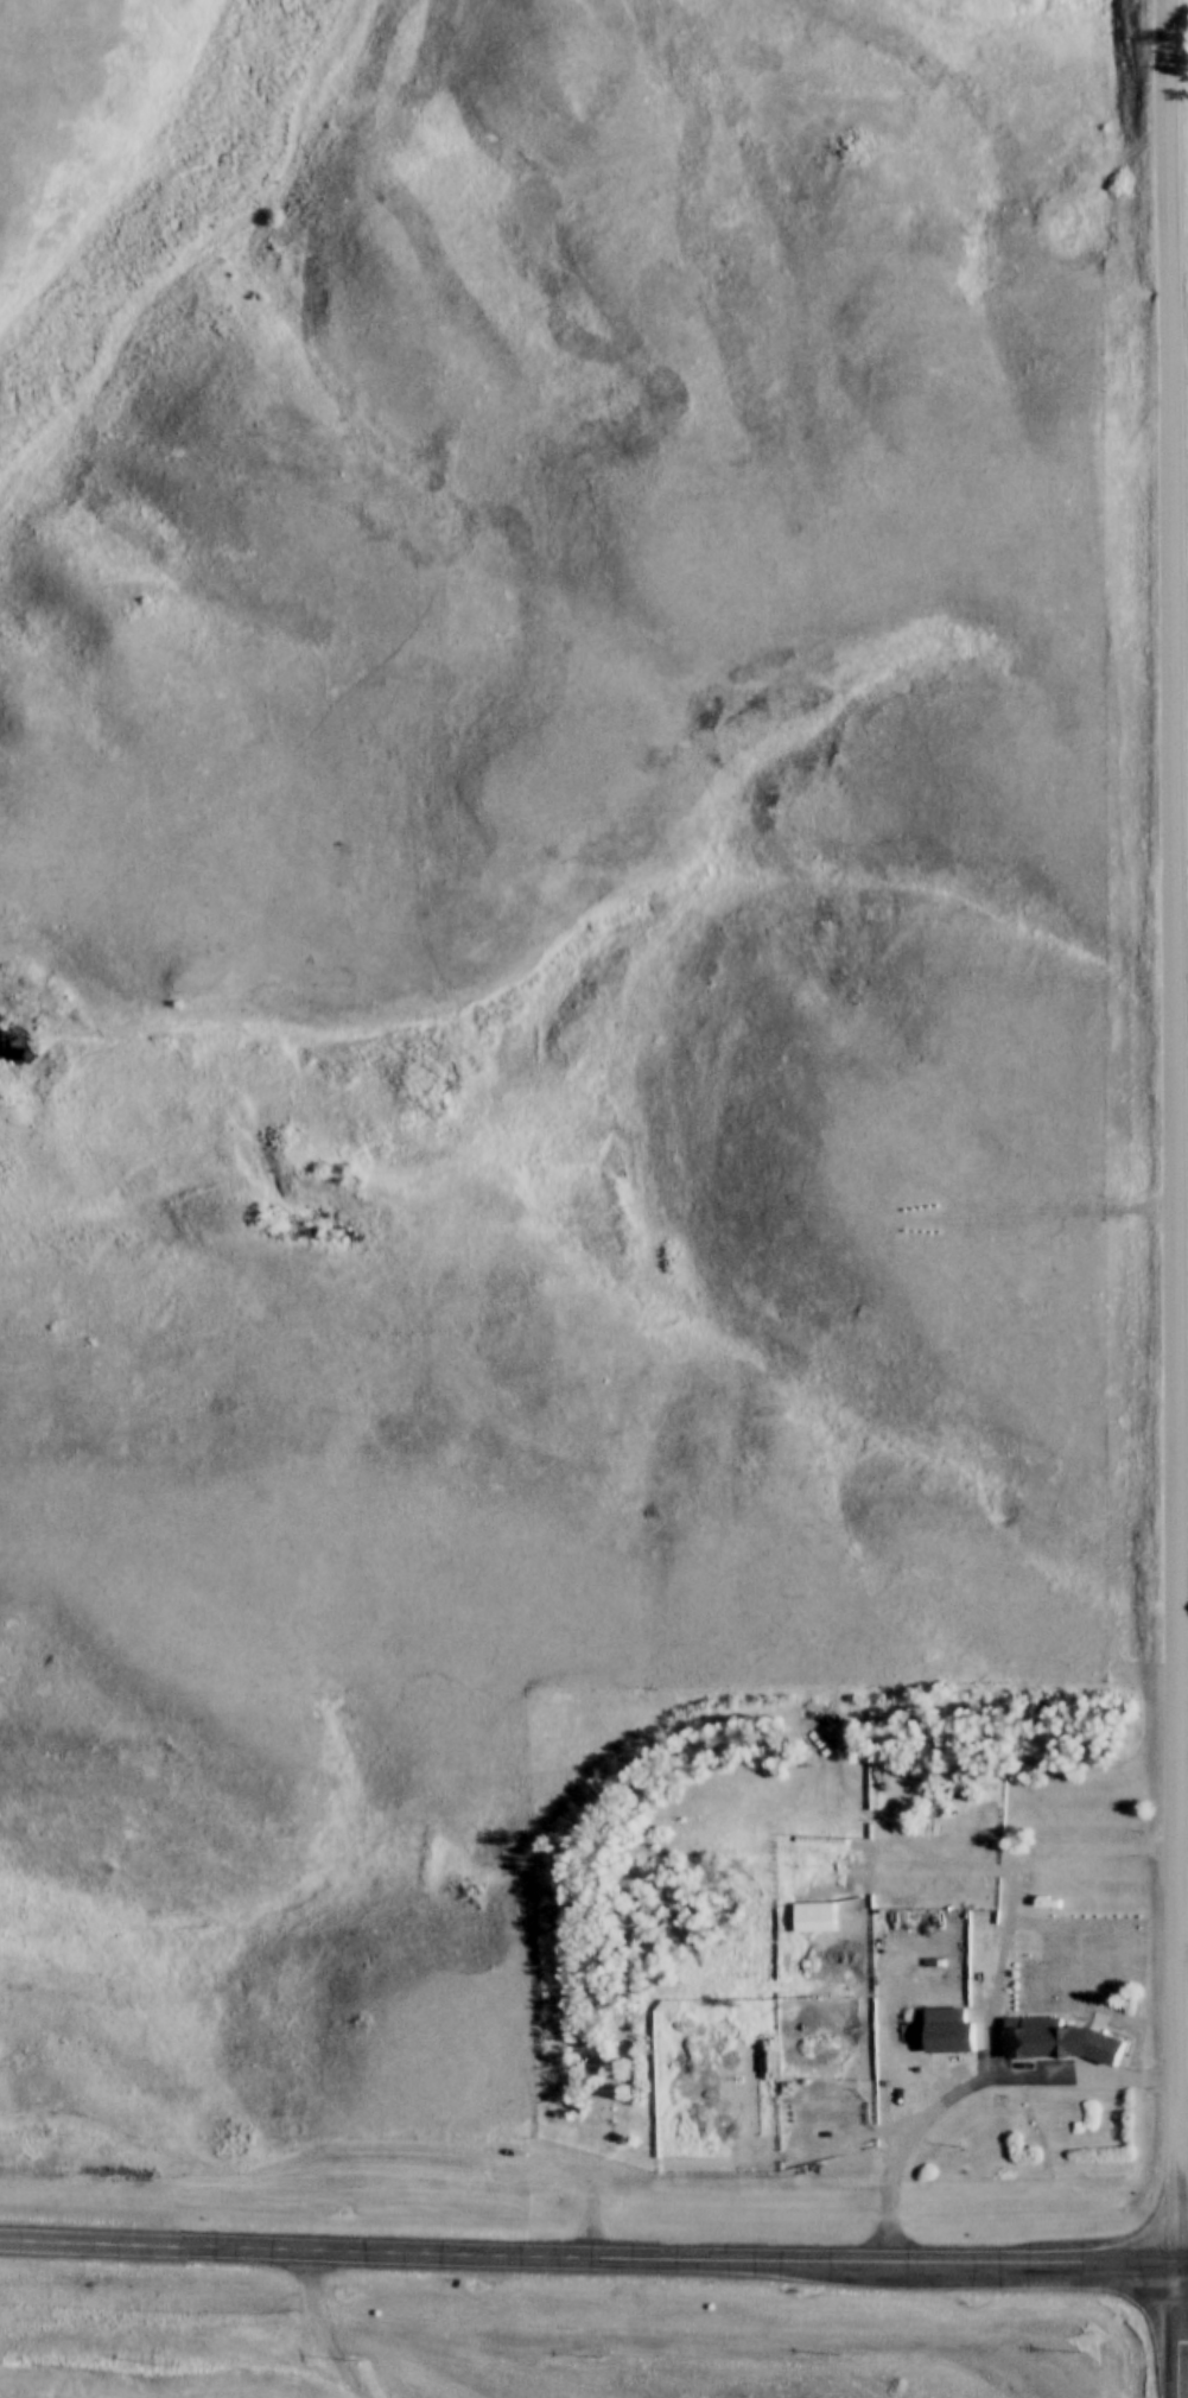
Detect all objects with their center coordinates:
road: (1177, 1129)
building: (807, 1915)
building: (1060, 2043)
building: (1016, 2045)
road: (970, 2082)
road: (593, 2254)
road: (326, 2327)
road: (1171, 2328)
road: (507, 2370)

